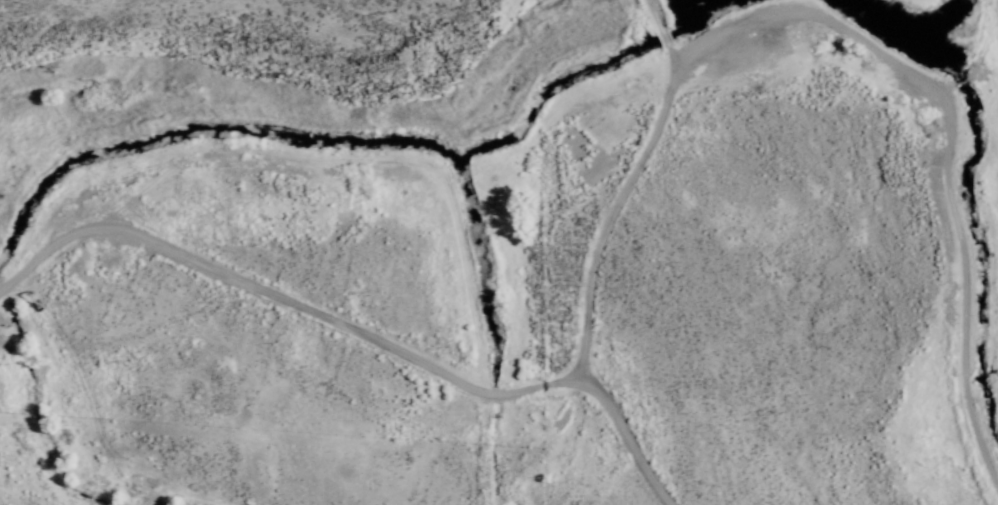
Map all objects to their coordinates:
road: (935, 162)
road: (463, 381)
road: (630, 438)

